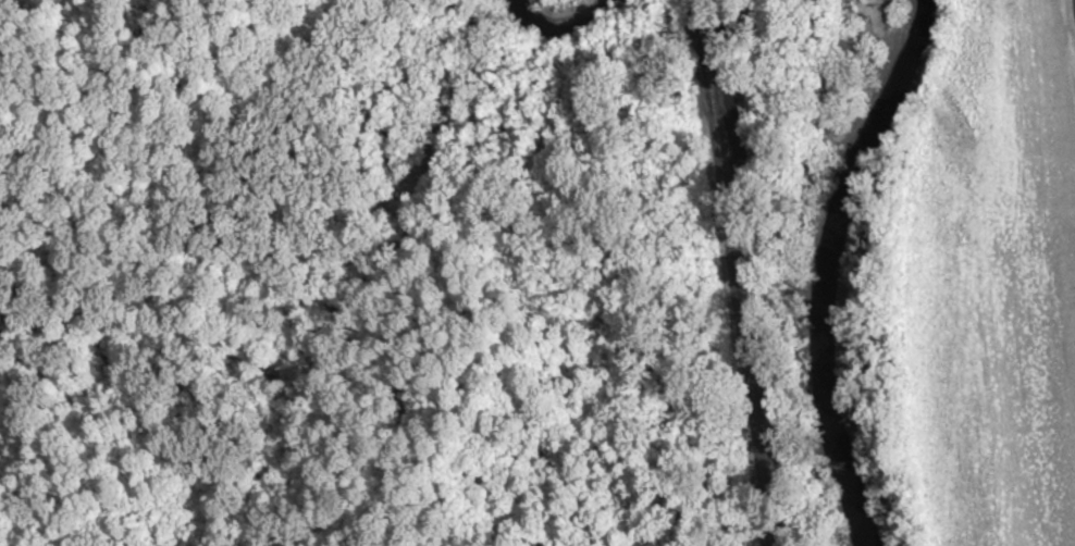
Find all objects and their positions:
railway: (738, 273)
crop: (993, 280)

